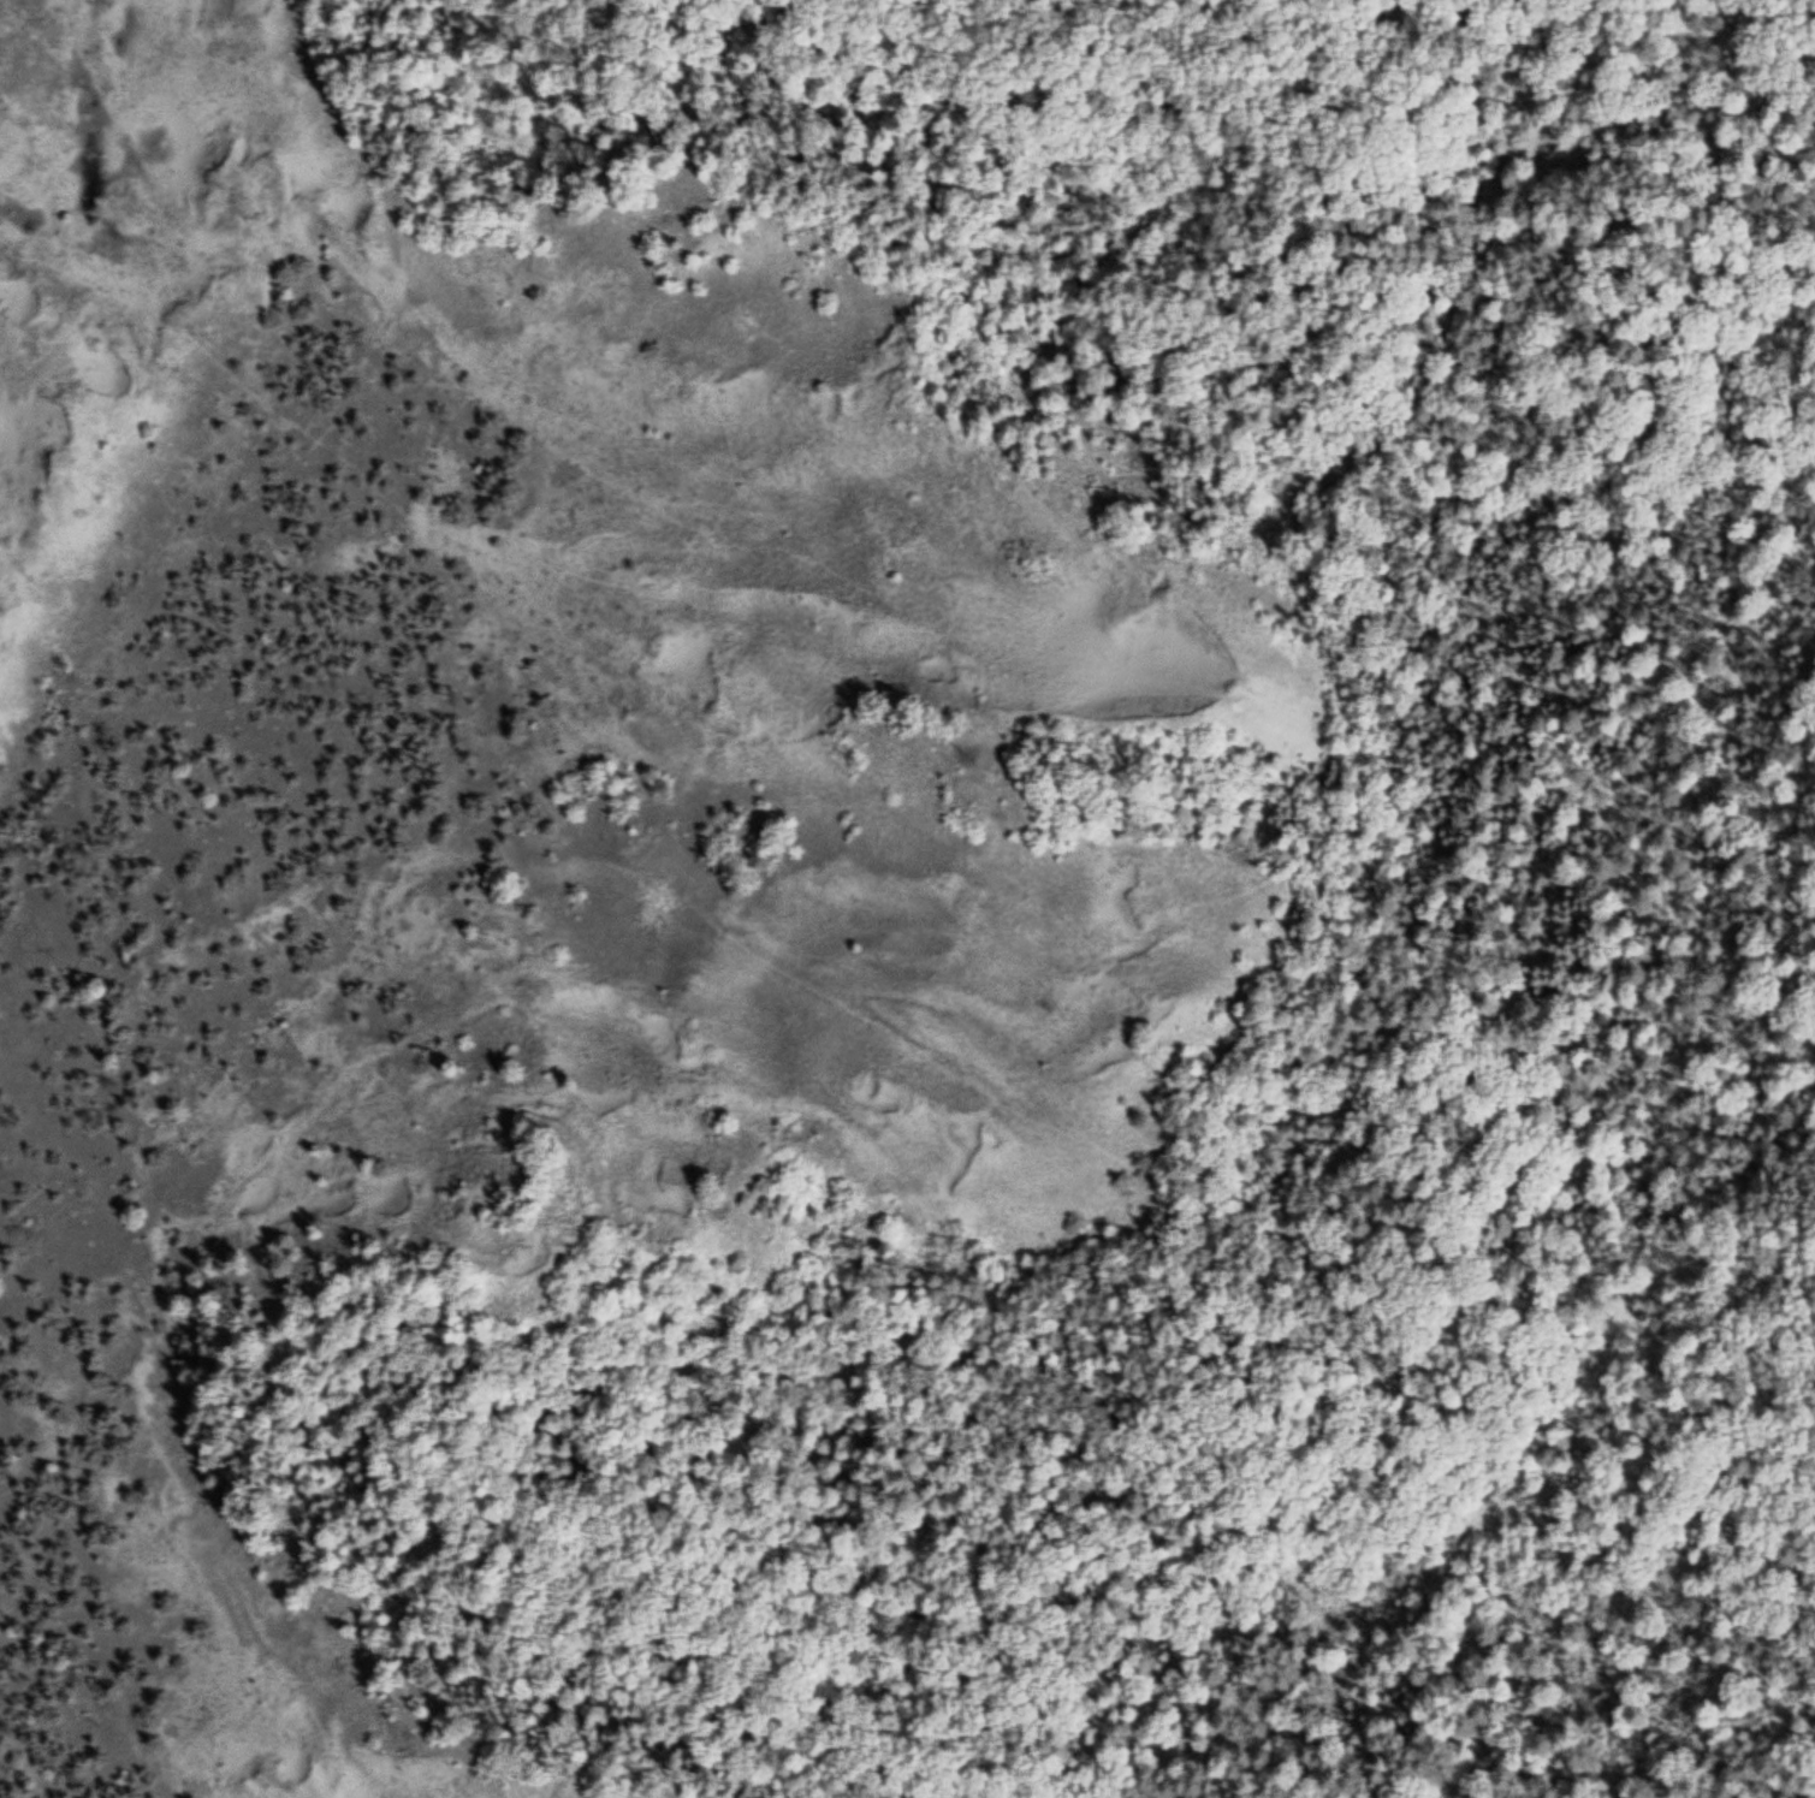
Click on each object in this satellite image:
road: (1583, 725)

